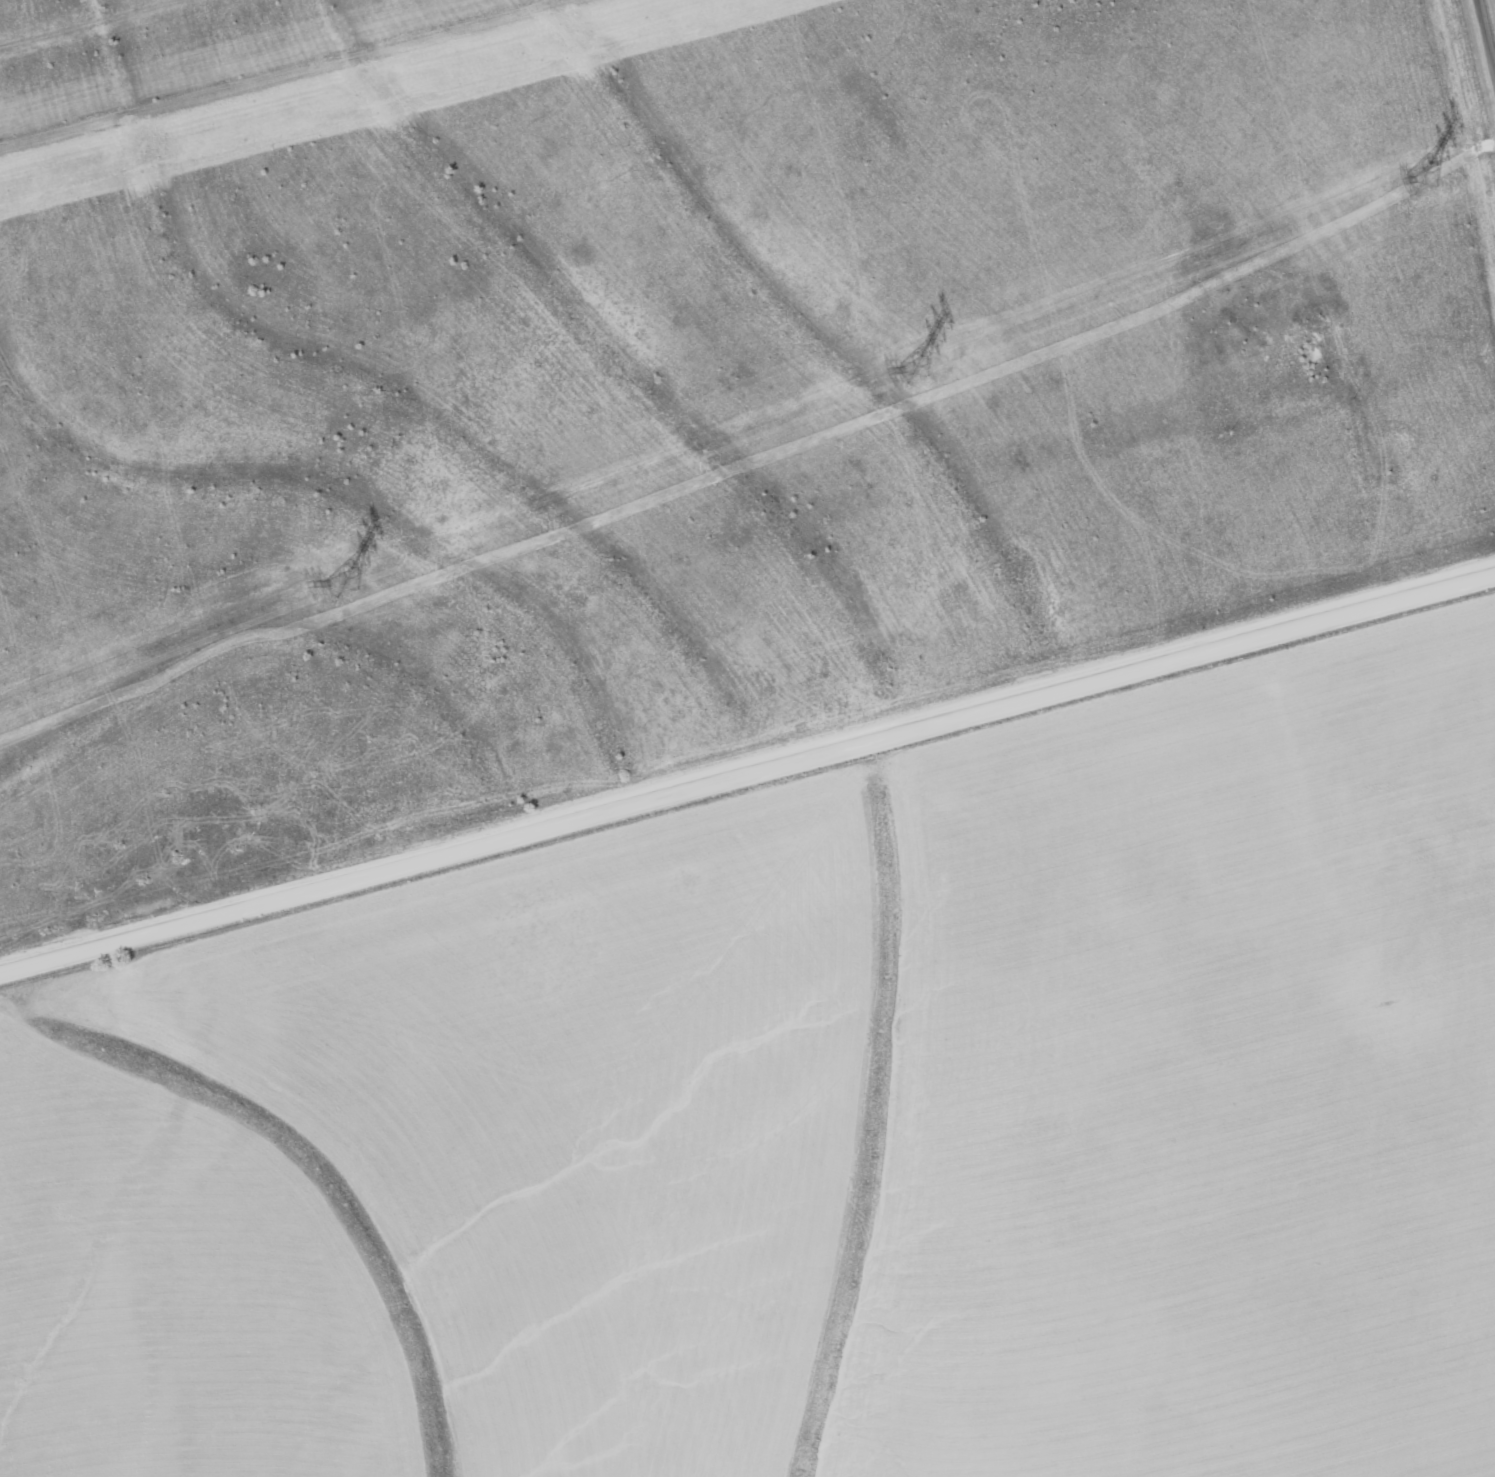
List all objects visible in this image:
road: (1493, 5)
power tower: (1420, 178)
power tower: (911, 369)
power tower: (343, 583)
road: (747, 771)

